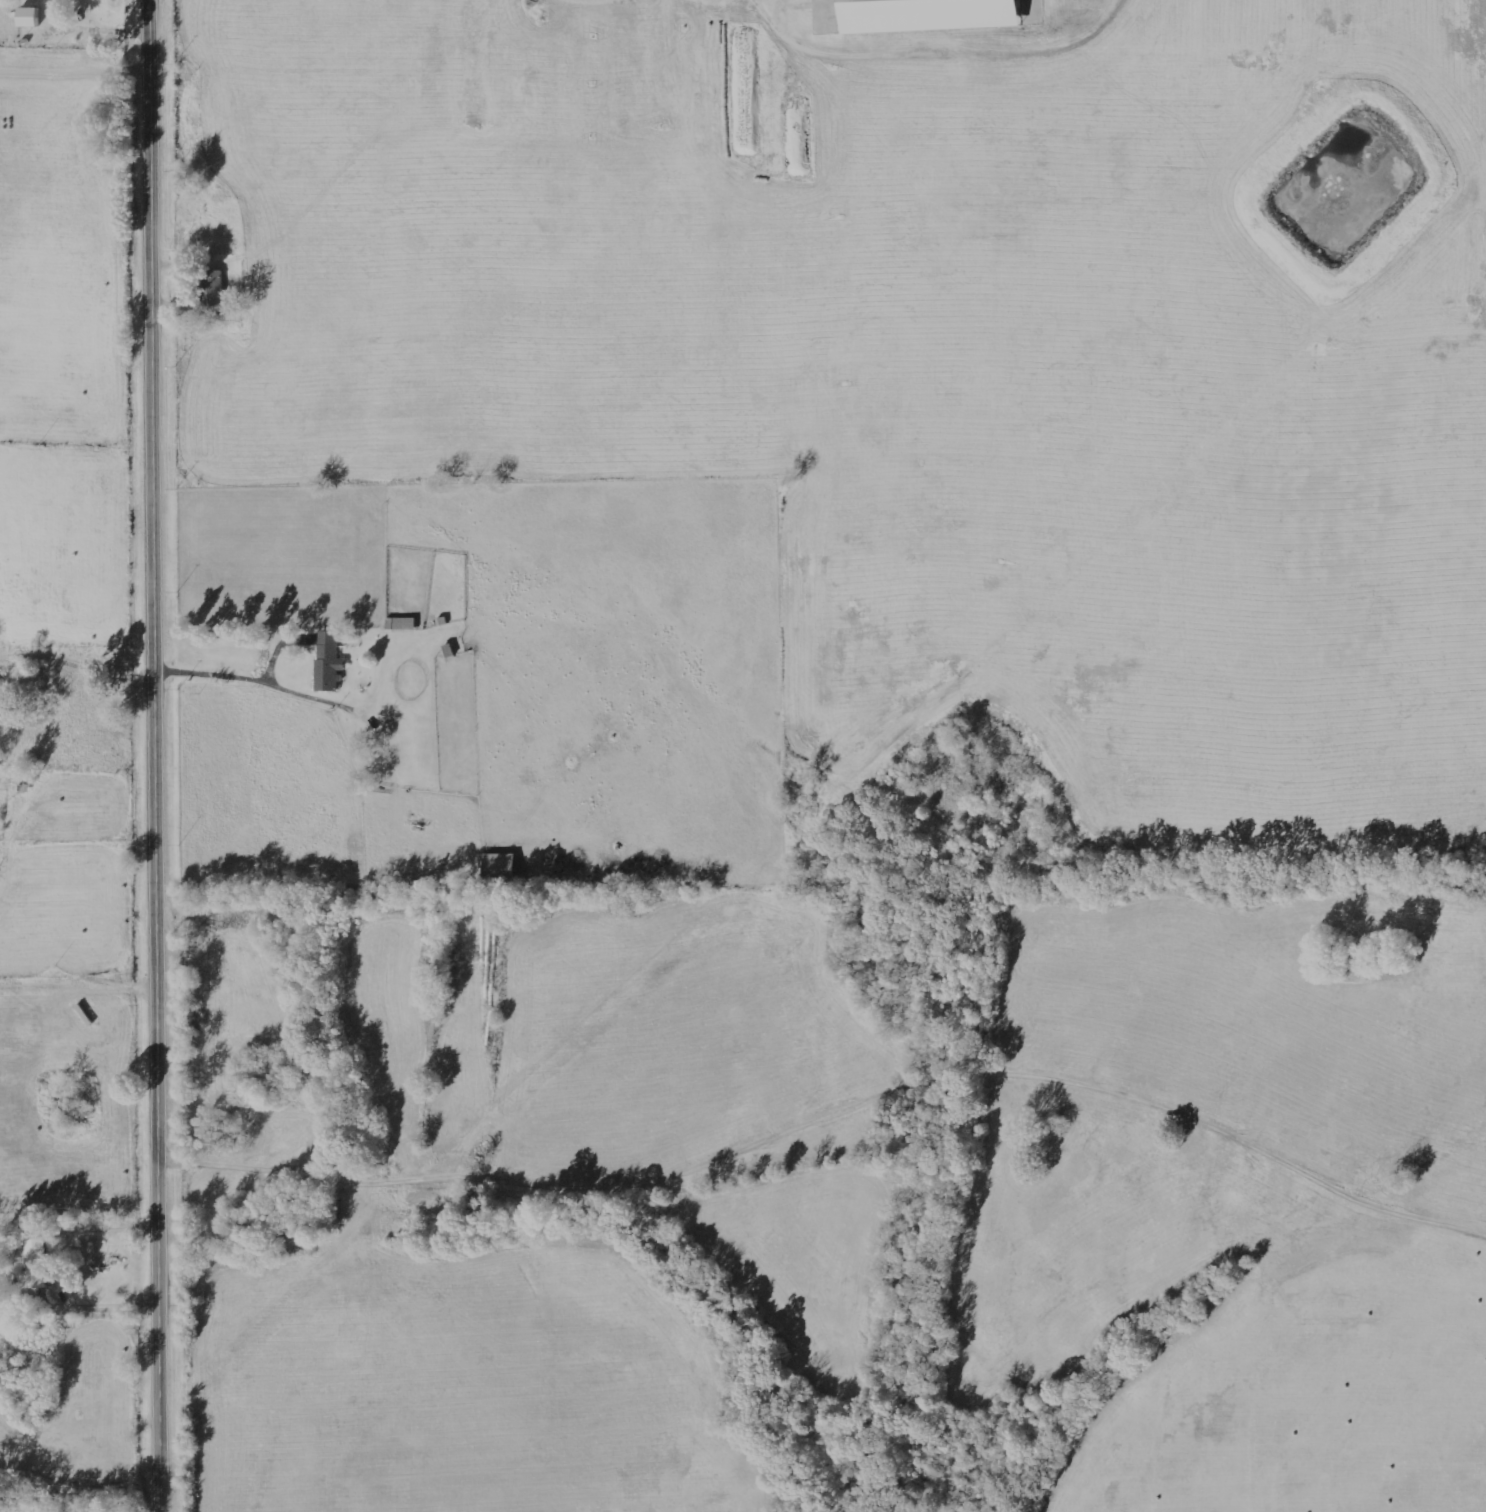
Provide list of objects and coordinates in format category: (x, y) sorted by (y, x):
building: (59, 2)
building: (934, 15)
building: (32, 17)
building: (215, 282)
road: (78, 511)
building: (331, 661)
road: (159, 756)
building: (504, 864)
building: (40, 1263)

